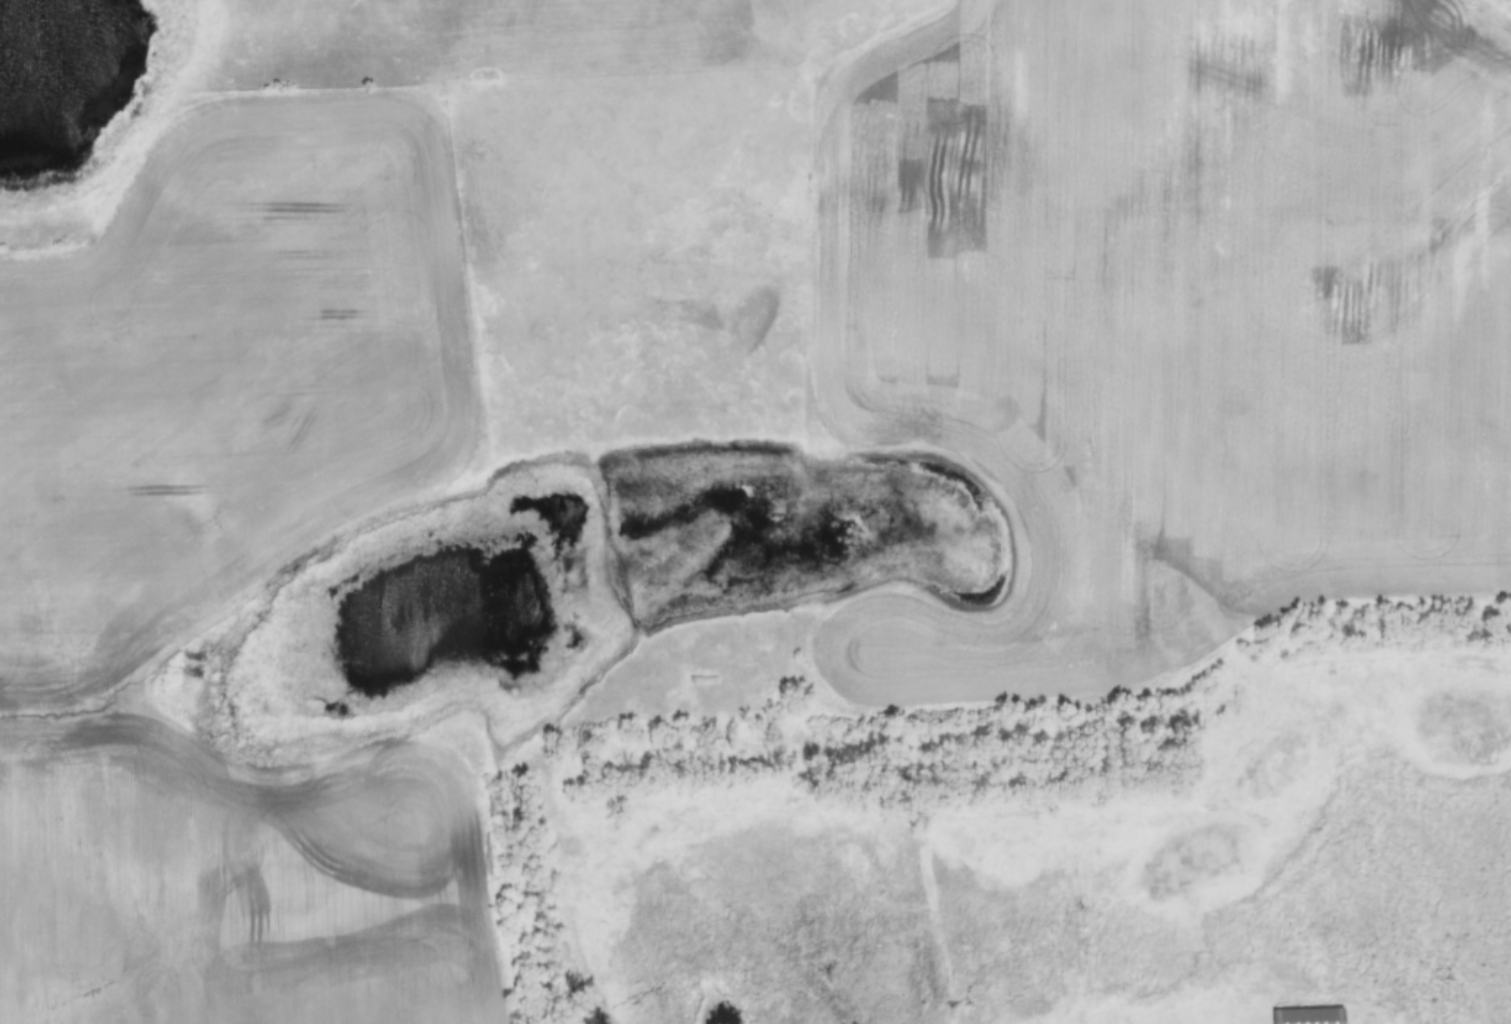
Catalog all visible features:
building: (1307, 1016)

